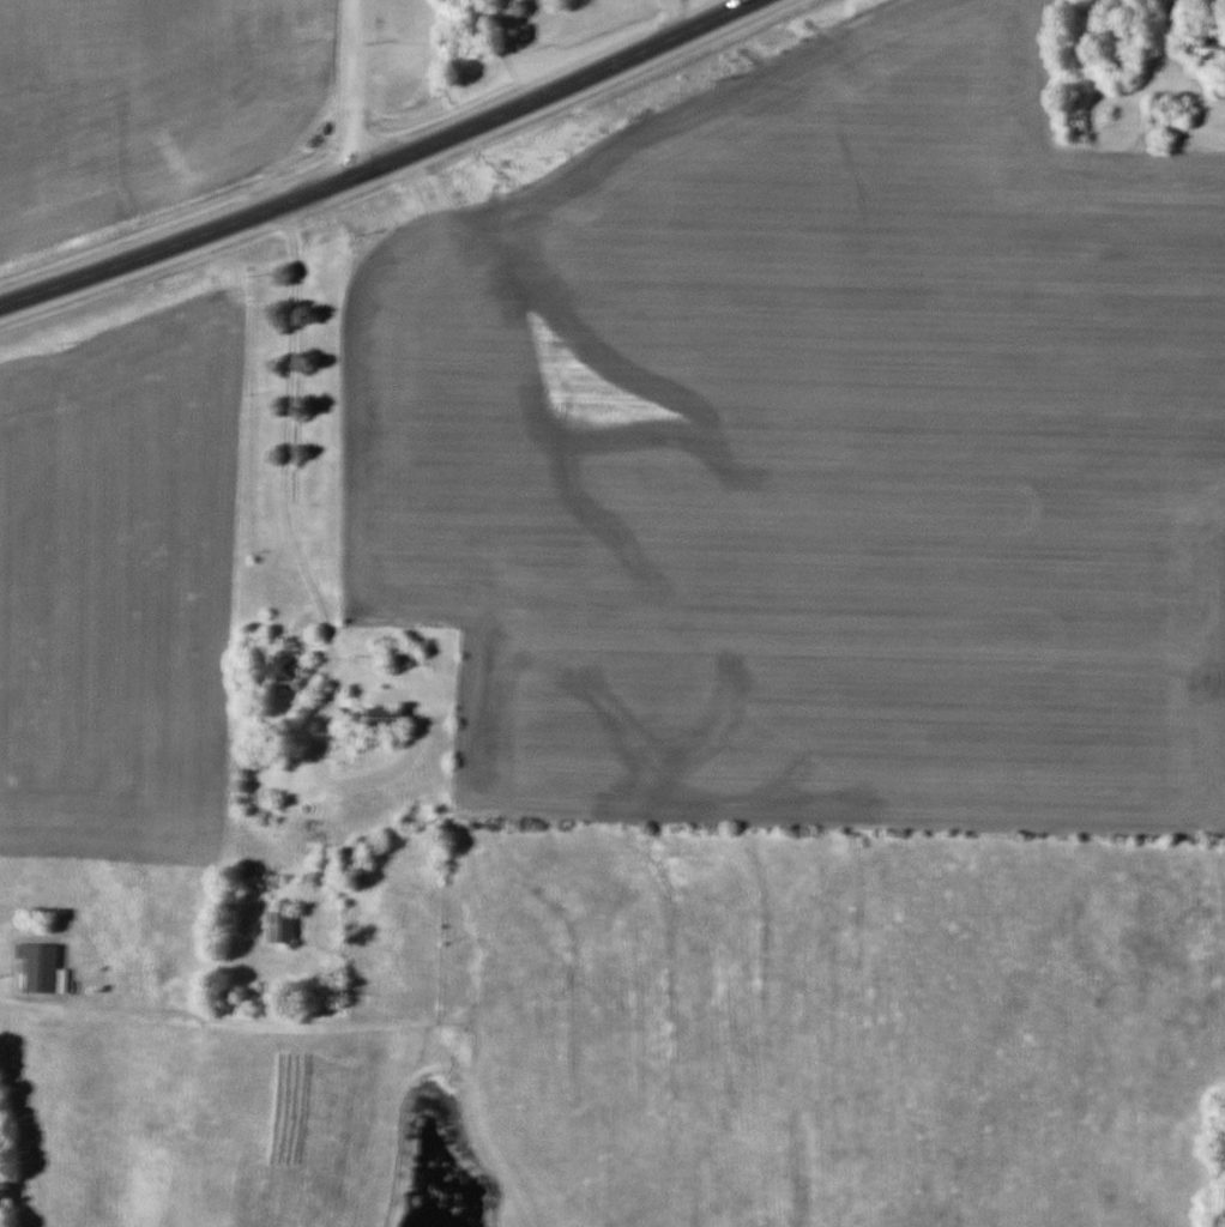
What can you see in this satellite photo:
road: (672, 17)
road: (344, 87)
road: (381, 159)
building: (399, 654)
building: (288, 667)
building: (390, 717)
building: (285, 924)
building: (42, 966)
road: (10, 1008)

